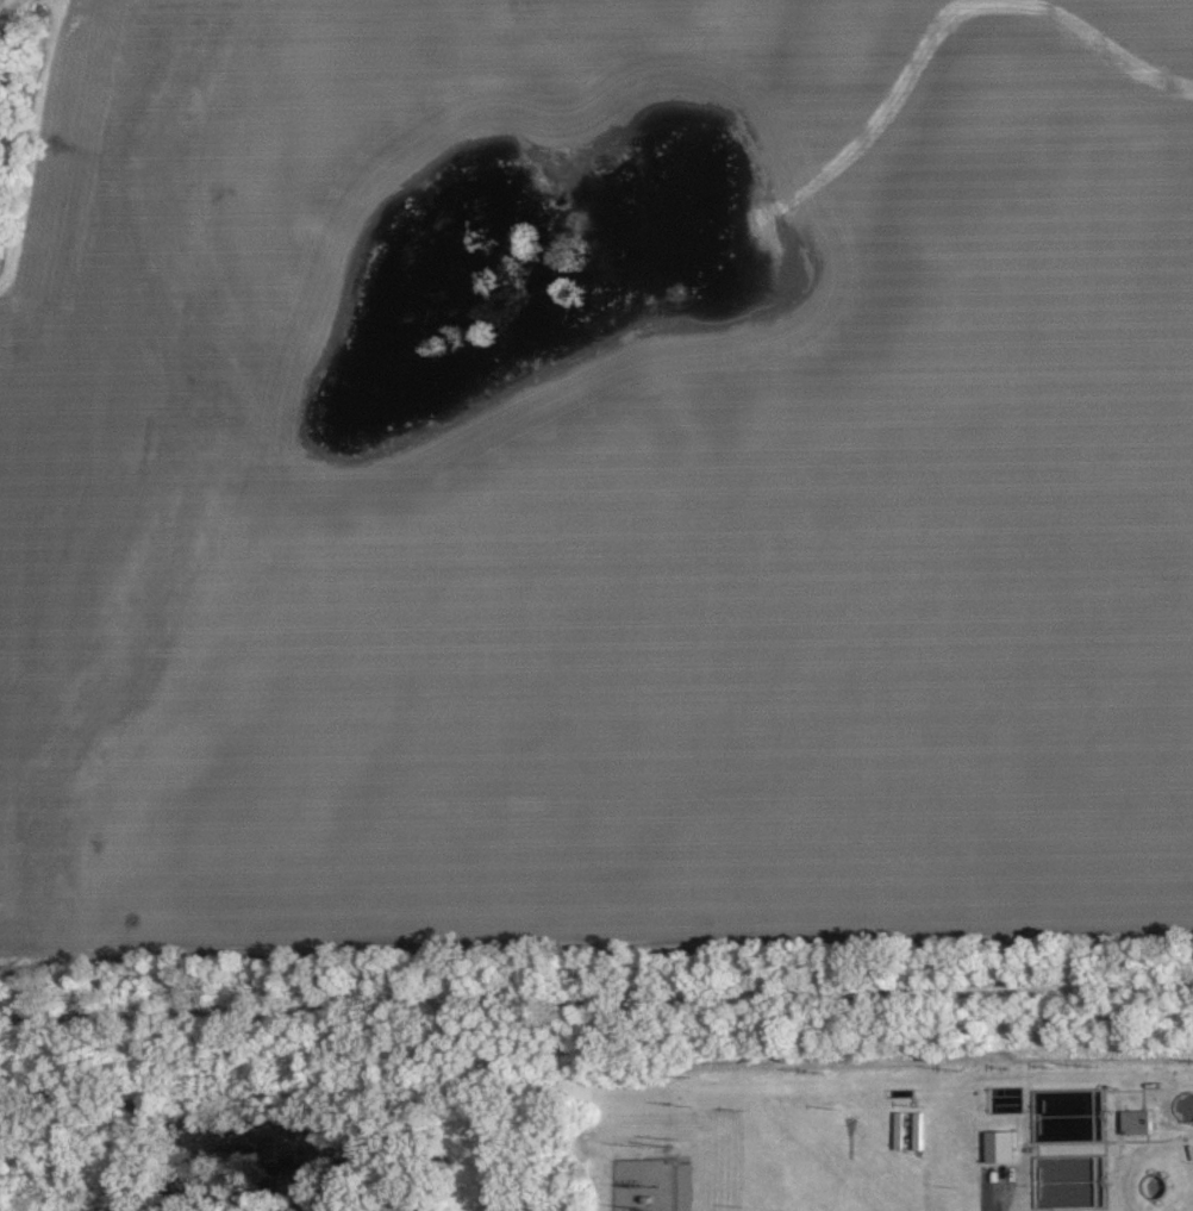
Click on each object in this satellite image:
building: (1138, 1122)
building: (1003, 1147)

